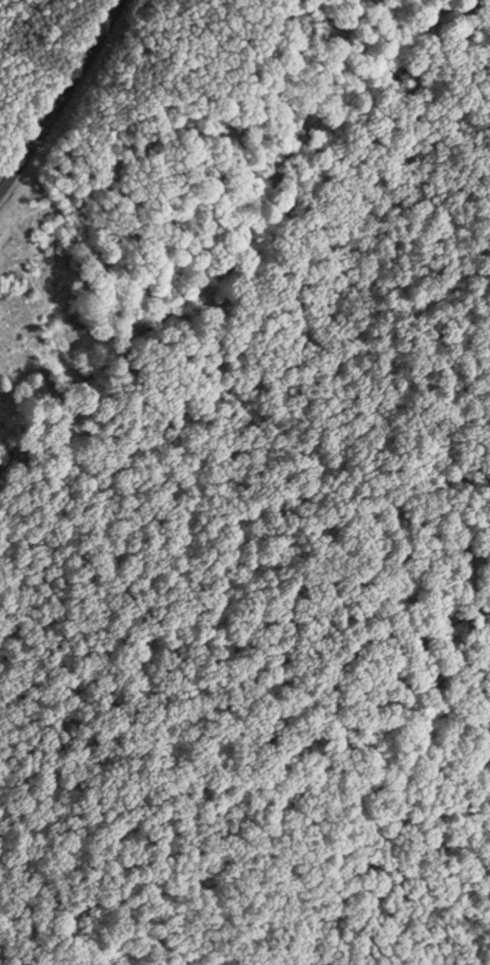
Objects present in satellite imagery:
road: (55, 89)

